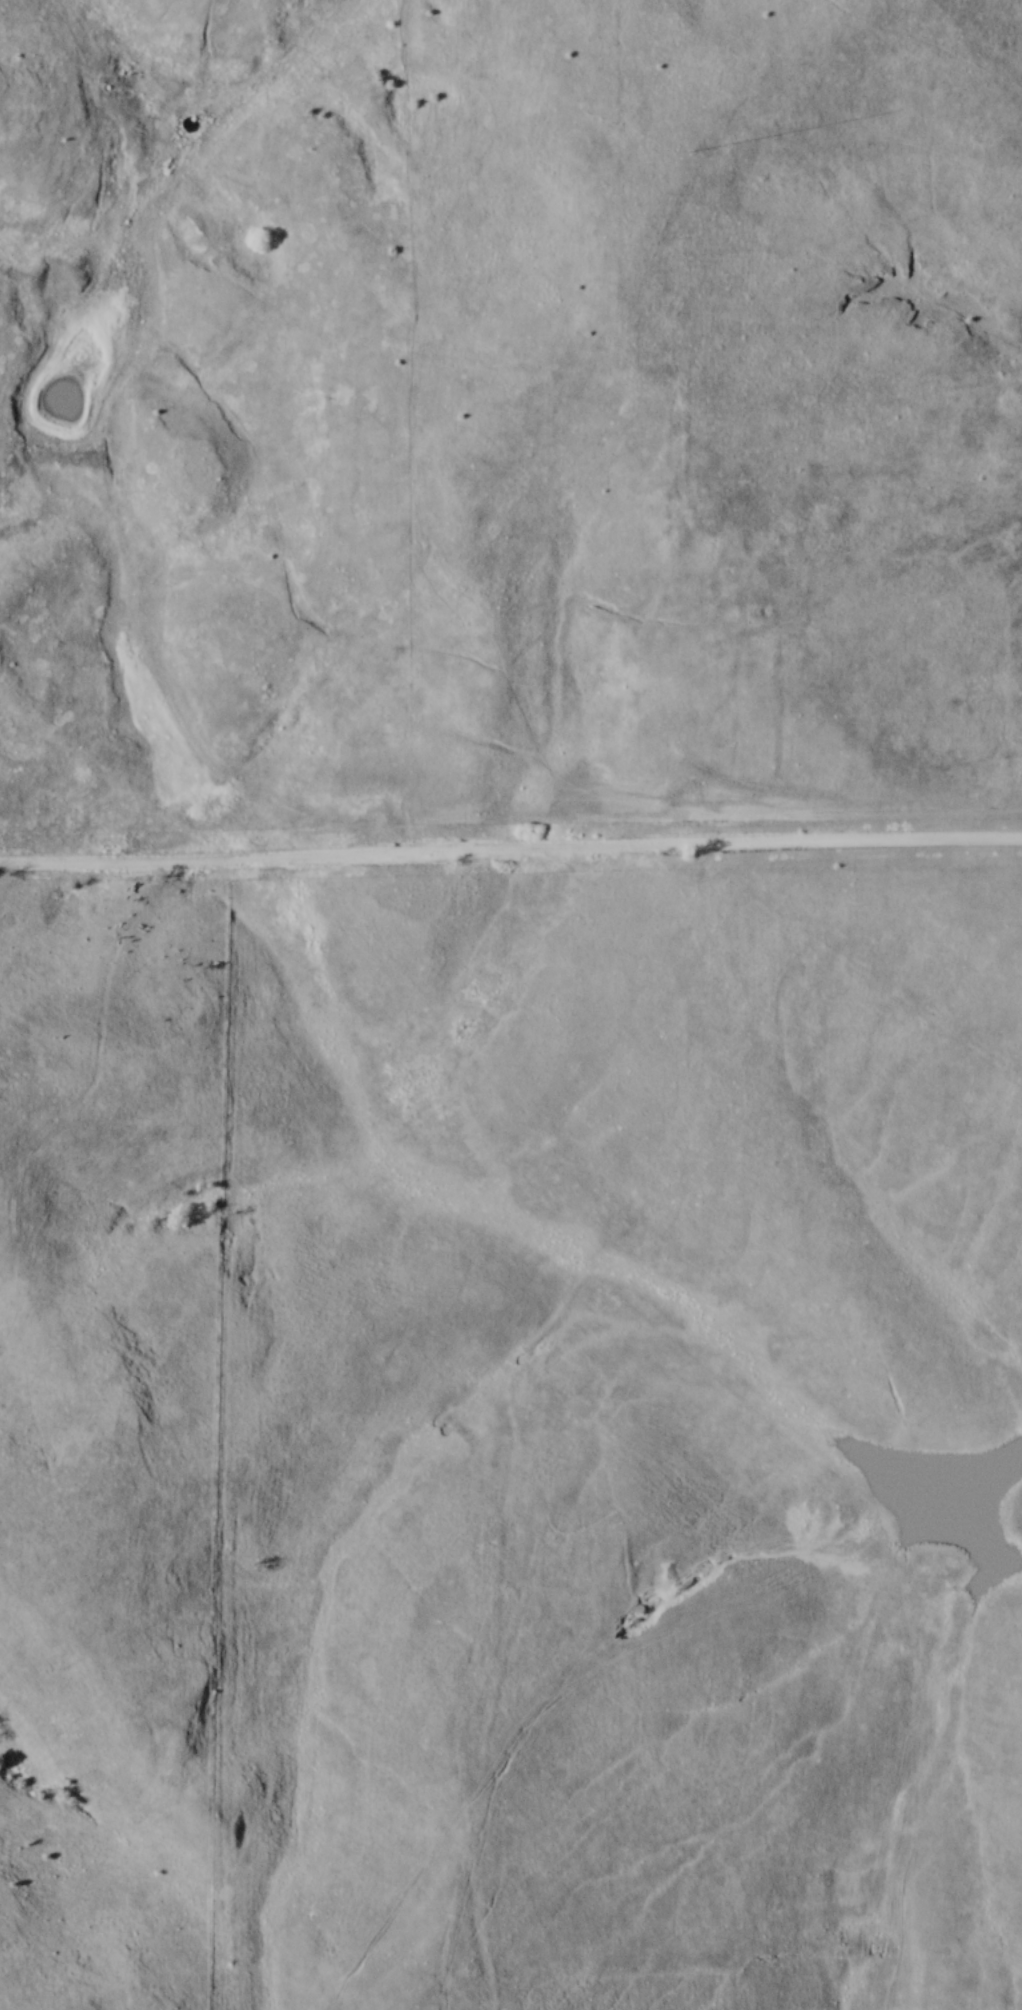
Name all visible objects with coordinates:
road: (510, 849)

